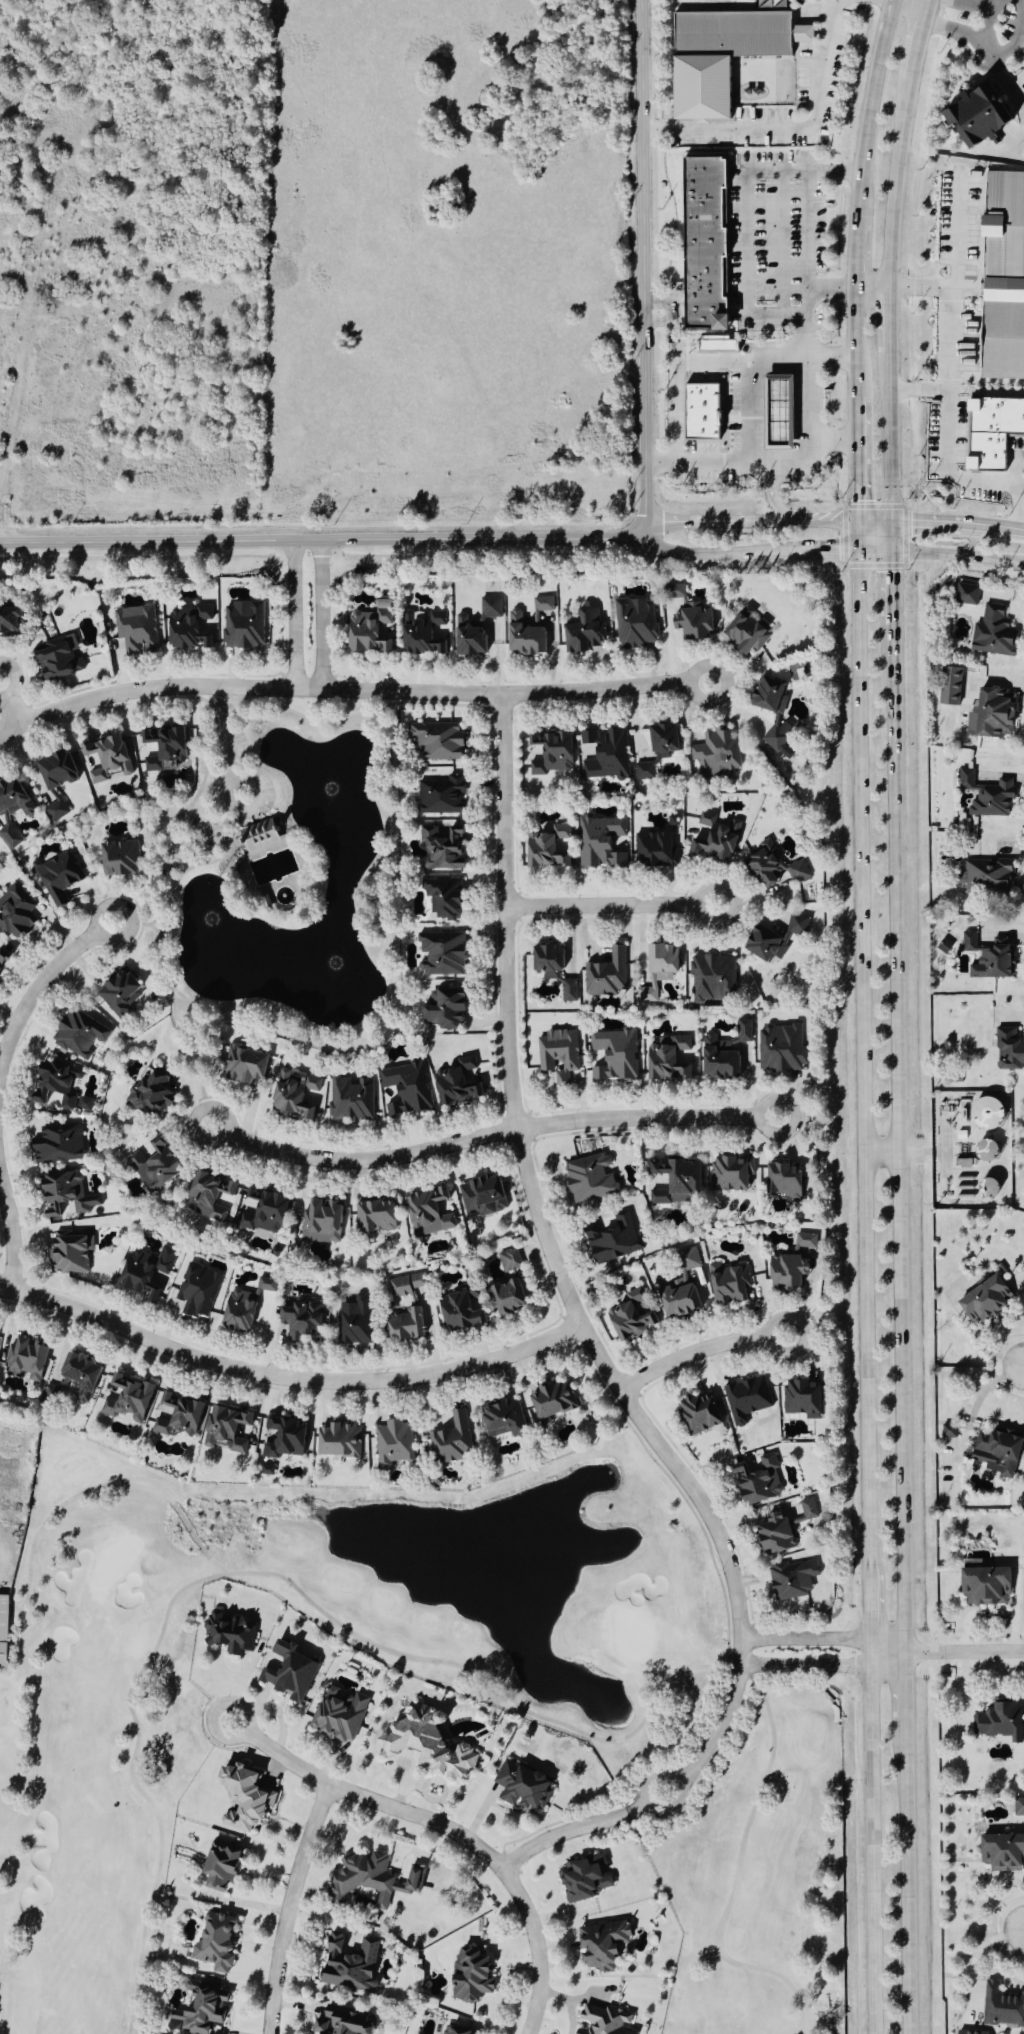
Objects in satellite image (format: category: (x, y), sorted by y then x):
road: (957, 3)
road: (914, 5)
road: (932, 5)
road: (988, 23)
road: (954, 29)
road: (1018, 35)
road: (919, 45)
road: (987, 51)
building: (721, 57)
road: (1007, 82)
road: (871, 106)
road: (1023, 108)
building: (977, 117)
road: (790, 129)
road: (904, 184)
road: (746, 211)
road: (807, 229)
road: (956, 232)
building: (702, 244)
road: (858, 250)
road: (644, 269)
building: (1003, 278)
road: (877, 286)
road: (832, 287)
road: (896, 321)
road: (859, 342)
building: (718, 344)
road: (719, 359)
road: (923, 388)
road: (987, 388)
road: (949, 389)
road: (750, 411)
building: (700, 413)
building: (777, 415)
gas station: (777, 415)
road: (862, 419)
building: (992, 431)
road: (835, 439)
road: (896, 439)
road: (807, 454)
road: (1018, 471)
road: (862, 481)
road: (772, 496)
road: (1020, 508)
road: (751, 523)
traffic signals: (862, 523)
road: (879, 523)
traffic signals: (896, 523)
road: (960, 524)
road: (896, 538)
road: (862, 539)
road: (323, 541)
road: (879, 554)
traffic signals: (897, 554)
road: (751, 555)
traffic signals: (862, 555)
road: (960, 558)
road: (897, 589)
building: (965, 595)
road: (1007, 596)
building: (542, 604)
road: (298, 616)
road: (324, 617)
building: (11, 620)
building: (692, 621)
building: (635, 623)
building: (242, 626)
building: (189, 628)
building: (136, 629)
building: (474, 629)
building: (369, 630)
building: (584, 632)
building: (423, 633)
building: (746, 634)
building: (993, 634)
building: (523, 637)
building: (57, 663)
building: (951, 687)
road: (351, 692)
building: (768, 696)
road: (11, 705)
building: (994, 715)
building: (775, 739)
building: (436, 741)
building: (662, 741)
building: (162, 748)
building: (716, 753)
building: (549, 754)
building: (603, 754)
building: (105, 758)
building: (55, 770)
building: (644, 772)
road: (1000, 775)
road: (229, 780)
fountain: (328, 788)
building: (440, 796)
building: (987, 796)
building: (13, 799)
building: (56, 811)
park: (237, 819)
building: (258, 836)
building: (9, 837)
building: (715, 839)
building: (599, 843)
building: (442, 848)
building: (546, 849)
building: (654, 850)
building: (119, 859)
building: (773, 867)
building: (58, 877)
building: (987, 878)
building: (444, 900)
road: (614, 906)
building: (15, 913)
fountain: (208, 914)
building: (773, 939)
building: (441, 954)
building: (3, 956)
fountain: (314, 957)
building: (988, 958)
building: (661, 959)
building: (547, 961)
building: (605, 974)
building: (711, 978)
road: (40, 987)
building: (567, 991)
building: (118, 993)
building: (646, 995)
building: (443, 1009)
building: (78, 1034)
building: (779, 1048)
building: (1008, 1050)
building: (724, 1053)
building: (556, 1055)
building: (613, 1055)
building: (667, 1060)
road: (866, 1062)
building: (243, 1065)
building: (456, 1083)
building: (55, 1084)
building: (405, 1087)
building: (149, 1092)
building: (293, 1094)
building: (350, 1099)
building: (986, 1115)
road: (492, 1137)
road: (902, 1139)
building: (1023, 1142)
building: (1023, 1144)
building: (57, 1145)
road: (885, 1152)
building: (986, 1152)
building: (155, 1164)
building: (731, 1174)
building: (589, 1178)
building: (674, 1180)
building: (782, 1181)
building: (62, 1192)
building: (481, 1195)
building: (209, 1196)
building: (262, 1210)
building: (429, 1212)
building: (373, 1216)
building: (320, 1220)
road: (13, 1228)
building: (610, 1238)
building: (806, 1241)
building: (68, 1254)
building: (687, 1260)
building: (509, 1261)
road: (559, 1270)
building: (144, 1271)
building: (785, 1273)
building: (728, 1283)
building: (267, 1284)
building: (407, 1284)
building: (197, 1291)
building: (507, 1297)
building: (677, 1299)
building: (984, 1300)
building: (460, 1309)
building: (237, 1311)
building: (629, 1316)
building: (300, 1319)
building: (354, 1322)
building: (404, 1325)
road: (974, 1336)
road: (702, 1352)
building: (26, 1356)
building: (79, 1374)
road: (288, 1380)
building: (49, 1396)
building: (126, 1398)
building: (801, 1399)
building: (552, 1400)
building: (745, 1400)
building: (697, 1414)
building: (175, 1415)
building: (502, 1419)
building: (226, 1429)
building: (948, 1431)
building: (283, 1438)
building: (337, 1440)
building: (451, 1440)
building: (394, 1443)
building: (998, 1450)
building: (267, 1466)
building: (757, 1480)
building: (807, 1510)
building: (773, 1533)
building: (792, 1579)
building: (983, 1586)
road: (871, 1605)
road: (162, 1627)
building: (229, 1634)
road: (826, 1640)
building: (3, 1653)
road: (966, 1654)
road: (826, 1669)
building: (287, 1672)
road: (478, 1676)
road: (909, 1688)
road: (217, 1711)
building: (338, 1714)
park: (91, 1719)
building: (998, 1721)
building: (428, 1745)
building: (522, 1786)
building: (243, 1797)
road: (647, 1805)
building: (1018, 1806)
road: (570, 1831)
road: (457, 1834)
road: (875, 1836)
building: (1002, 1853)
road: (739, 1856)
building: (219, 1867)
road: (916, 1877)
building: (584, 1878)
building: (370, 1880)
road: (988, 1894)
road: (291, 1906)
building: (214, 1942)
building: (601, 1945)
road: (976, 1958)
building: (348, 1965)
building: (470, 1974)
road: (568, 2003)
building: (1001, 2007)
building: (199, 2008)
building: (605, 2020)
building: (342, 2023)
building: (457, 2031)
building: (970, 2033)

